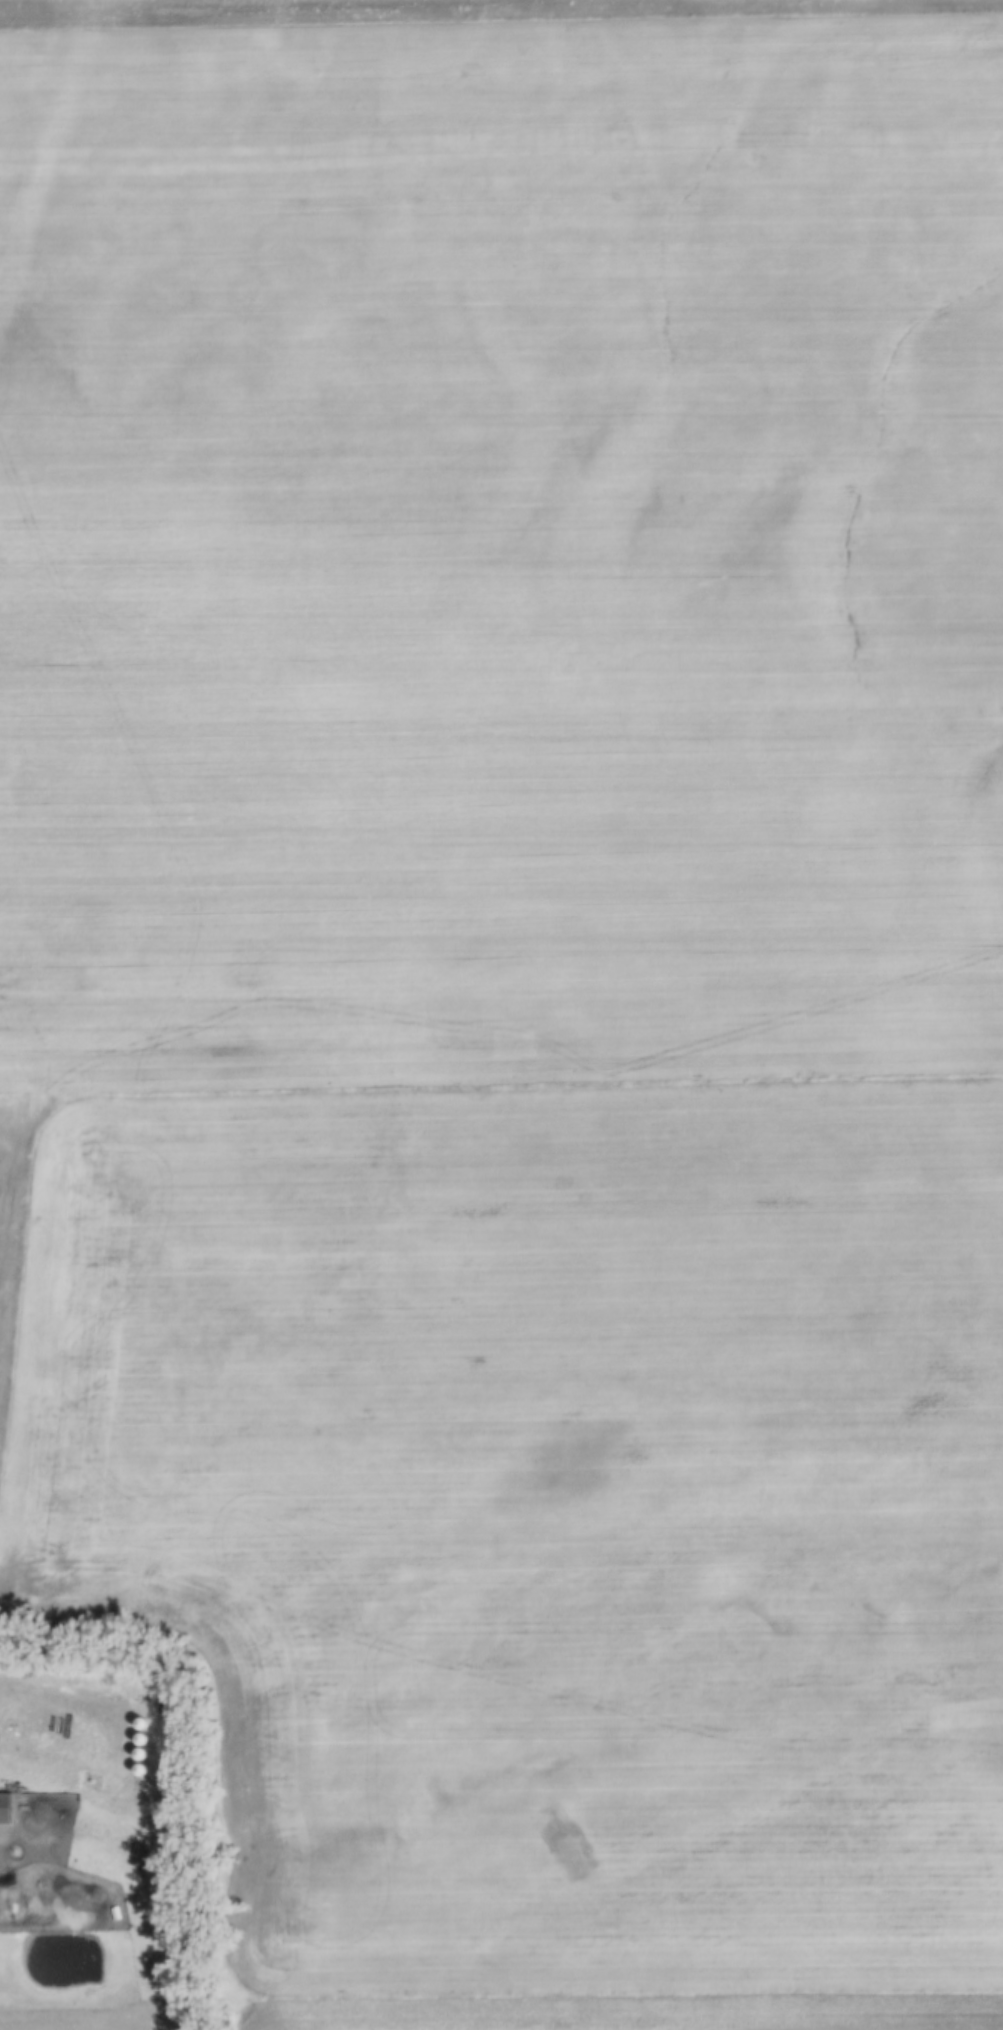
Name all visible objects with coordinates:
building: (6, 1810)
road: (631, 1991)

